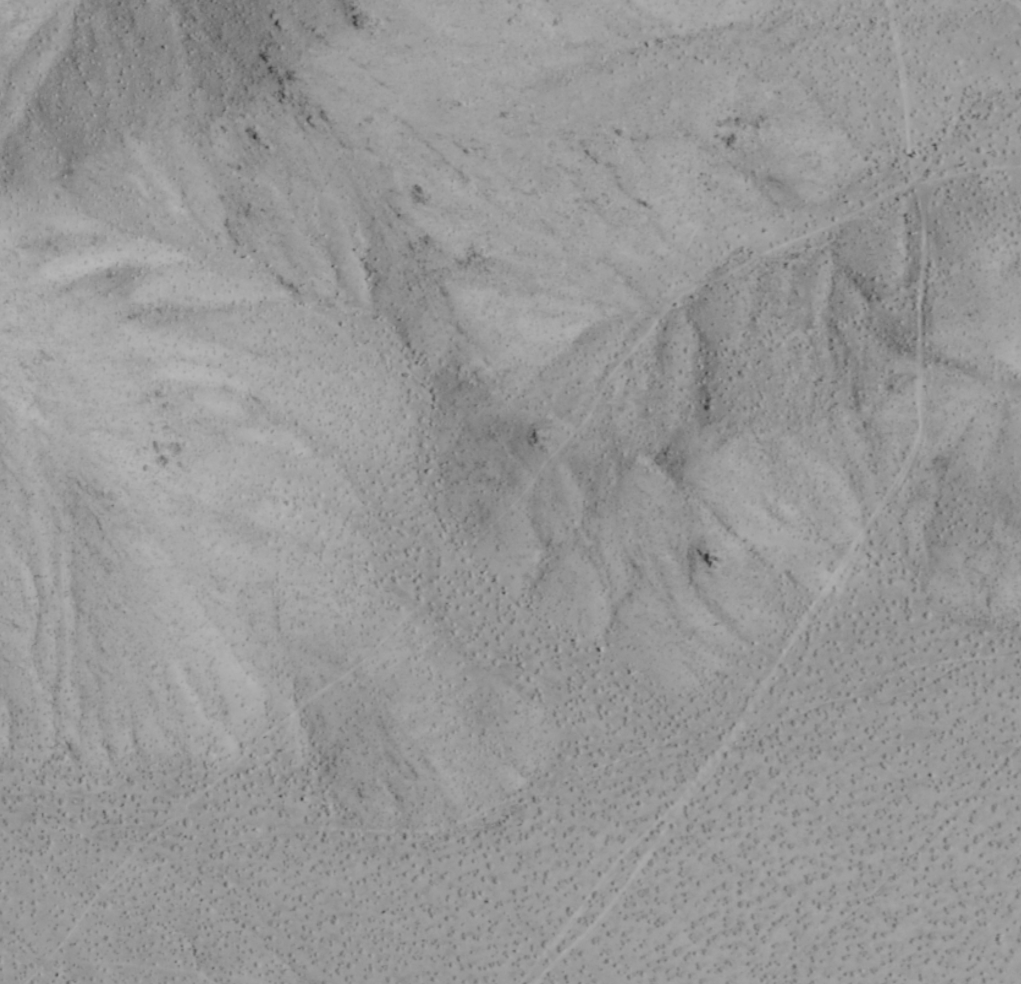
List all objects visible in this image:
road: (1015, 4)

